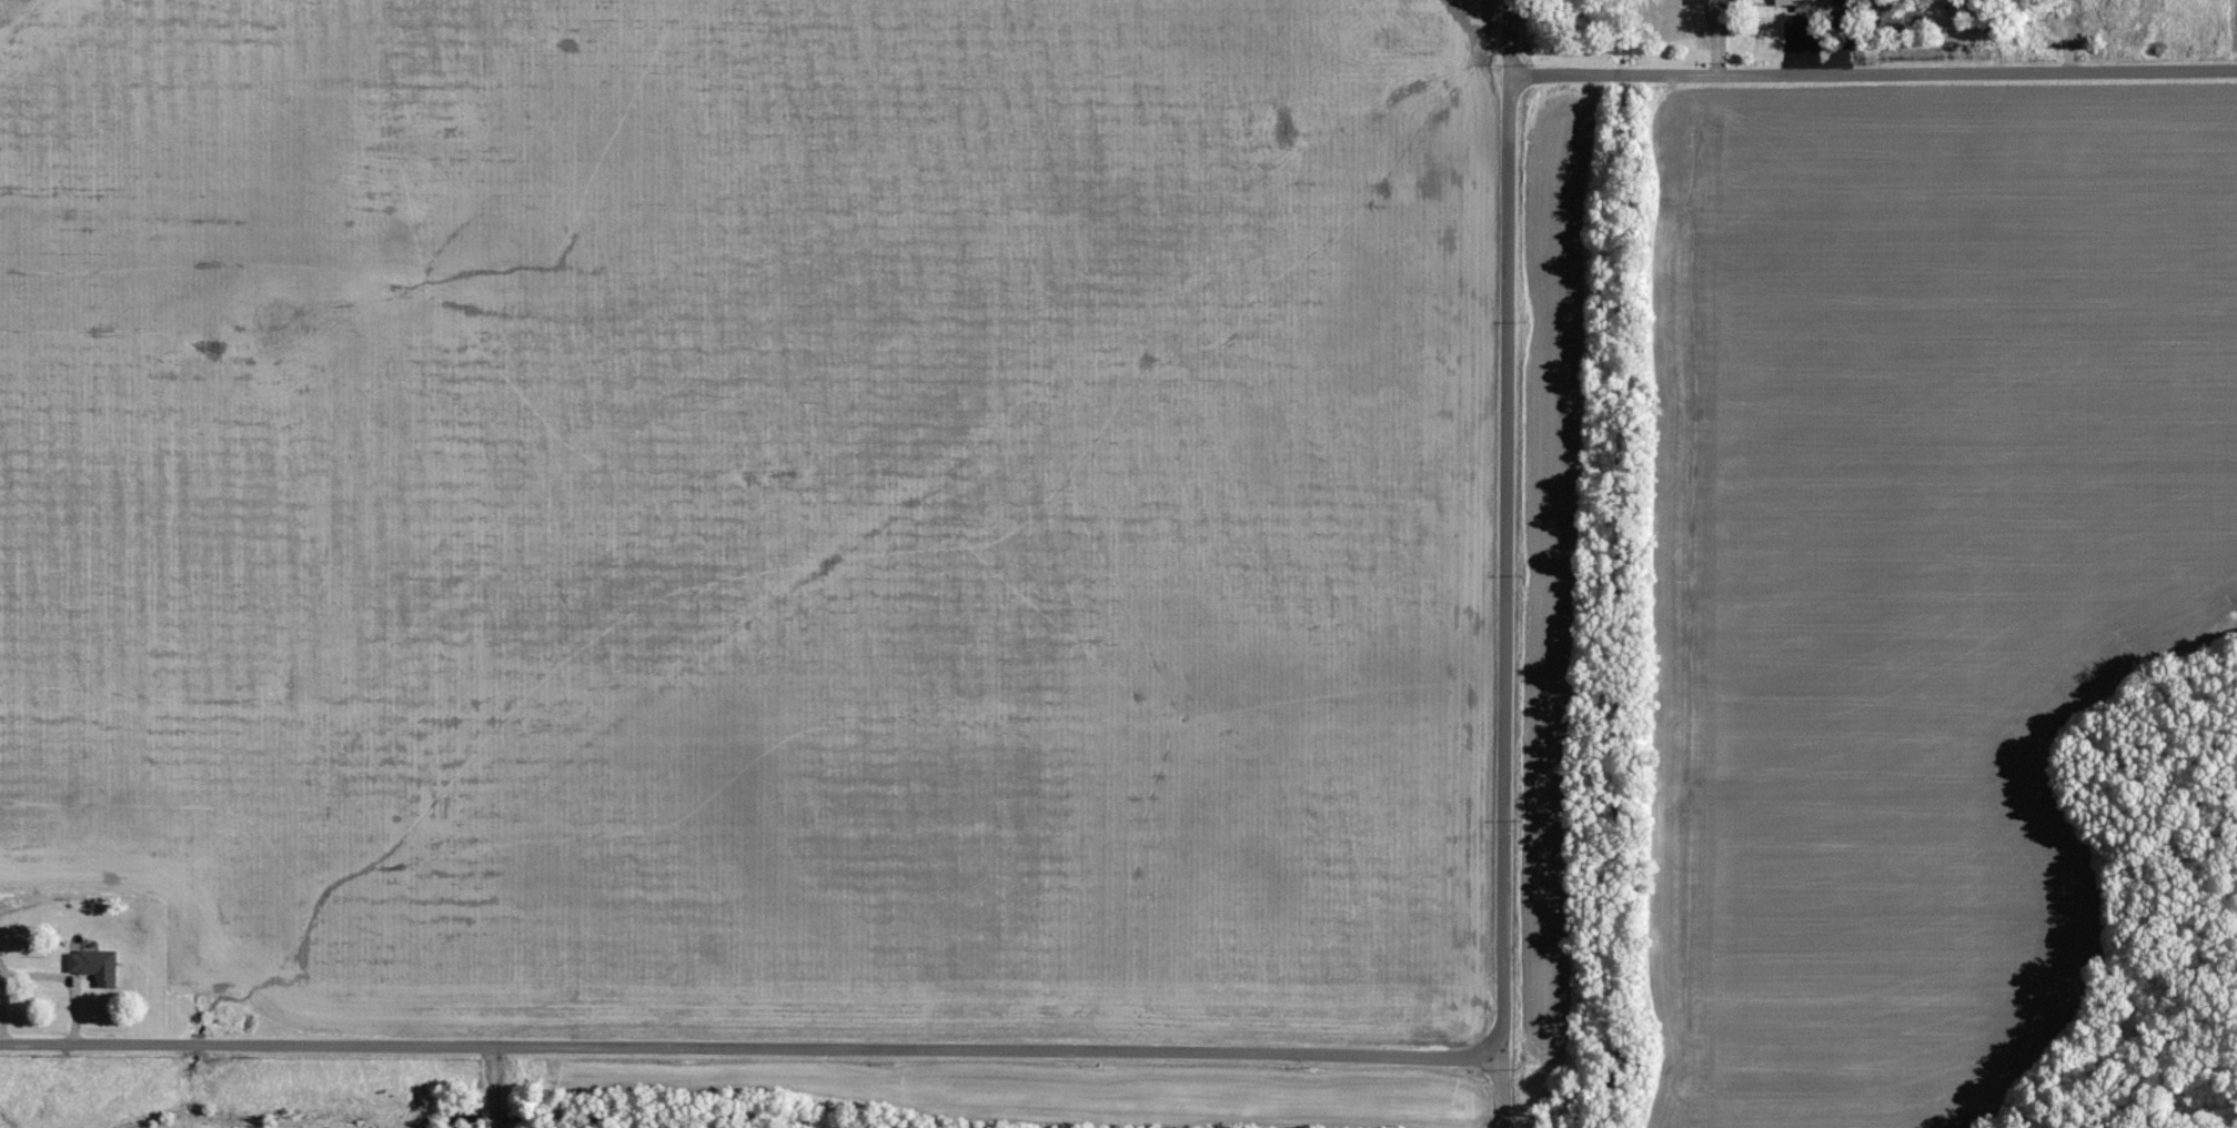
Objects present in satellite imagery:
building: (1801, 0)
road: (1871, 80)
road: (1501, 563)
building: (98, 966)
road: (749, 1050)

